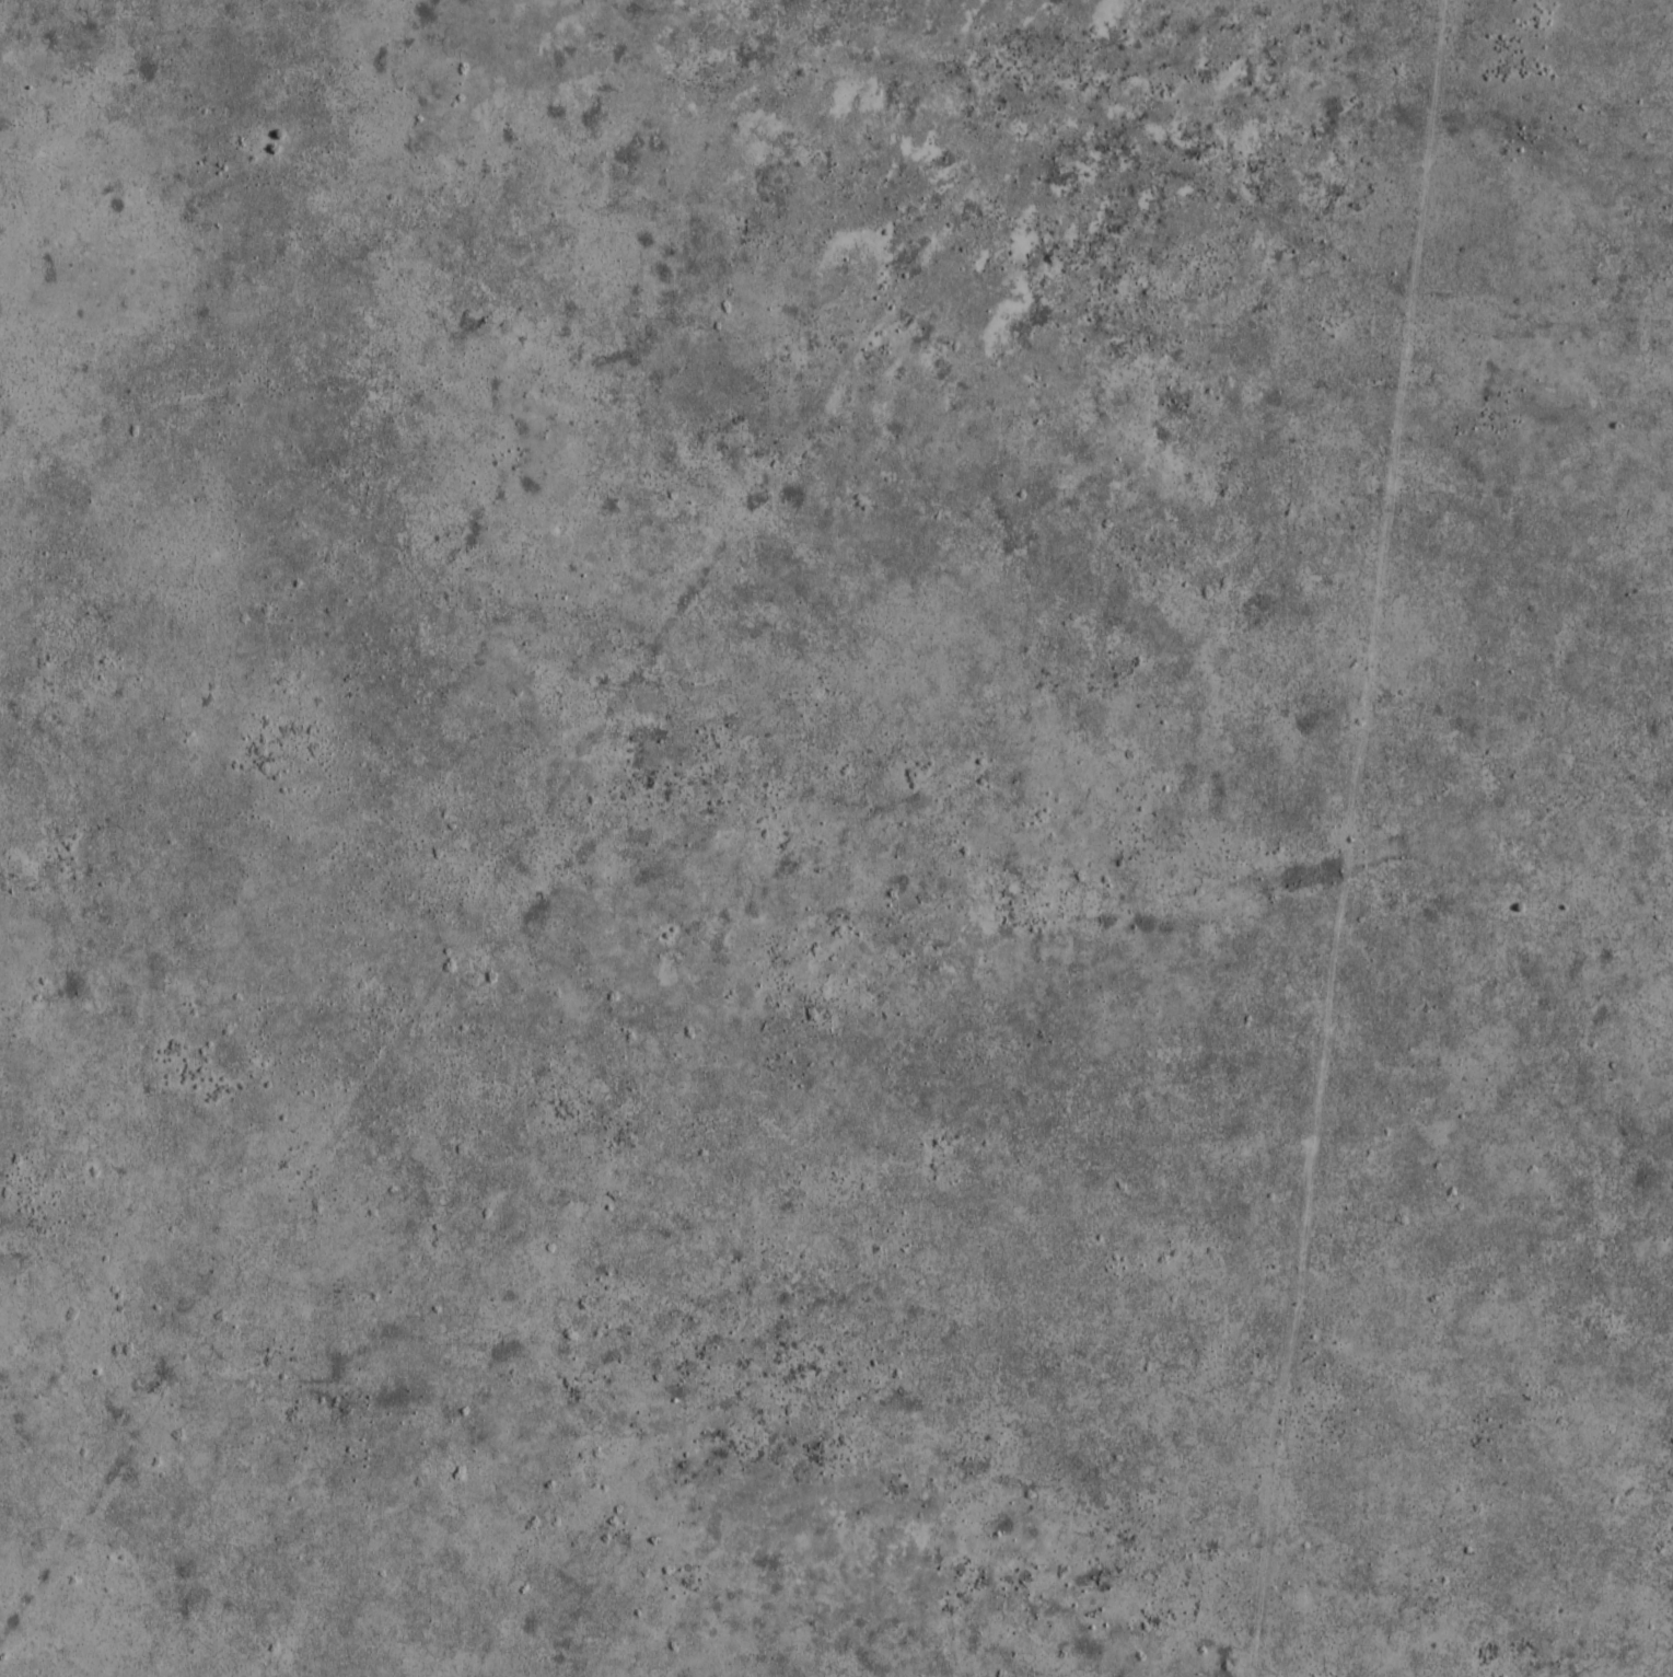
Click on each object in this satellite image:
road: (548, 825)
road: (1344, 838)

